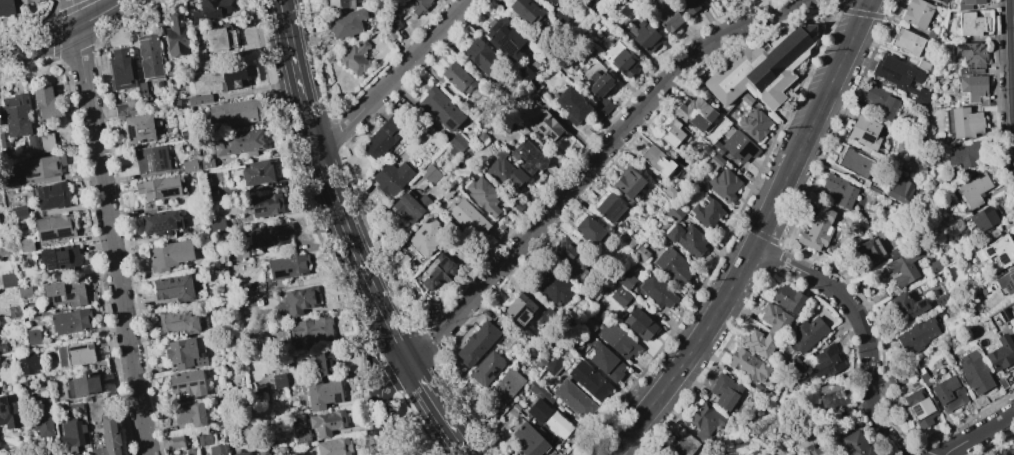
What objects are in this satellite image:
building: (541, 0)
building: (708, 0)
building: (938, 0)
building: (28, 1)
building: (550, 1)
building: (942, 1)
building: (971, 1)
building: (340, 4)
building: (418, 6)
building: (689, 6)
building: (6, 7)
building: (209, 10)
building: (521, 11)
building: (917, 13)
building: (664, 14)
building: (559, 17)
building: (394, 21)
building: (346, 23)
building: (969, 24)
building: (388, 32)
road: (63, 33)
building: (176, 36)
building: (644, 36)
building: (933, 36)
building: (505, 38)
building: (217, 39)
building: (907, 41)
building: (148, 52)
building: (481, 57)
building: (970, 57)
building: (355, 58)
building: (619, 59)
building: (200, 61)
building: (923, 65)
building: (761, 67)
building: (120, 70)
building: (524, 74)
rooftop solar panel: (894, 75)
road: (394, 76)
building: (901, 77)
building: (456, 78)
road: (832, 79)
building: (219, 81)
building: (599, 84)
building: (974, 89)
building: (141, 90)
building: (496, 91)
building: (746, 99)
building: (881, 101)
building: (42, 102)
building: (571, 105)
building: (603, 105)
building: (126, 108)
building: (440, 109)
building: (15, 111)
building: (234, 111)
building: (694, 113)
building: (594, 115)
building: (962, 122)
building: (753, 124)
building: (546, 126)
building: (138, 128)
building: (864, 132)
rooftop solar panel: (130, 133)
building: (674, 133)
building: (384, 135)
building: (39, 142)
building: (238, 142)
building: (457, 142)
building: (735, 146)
road: (606, 148)
building: (966, 154)
building: (528, 157)
building: (150, 159)
building: (656, 160)
building: (713, 161)
building: (856, 163)
building: (189, 165)
rooftop solar panel: (31, 166)
building: (41, 167)
building: (256, 172)
building: (505, 173)
building: (430, 174)
rooftop solar panel: (33, 176)
building: (388, 180)
building: (8, 183)
building: (627, 183)
building: (723, 185)
building: (870, 186)
road: (329, 187)
building: (159, 188)
building: (973, 189)
building: (839, 190)
building: (899, 190)
building: (668, 191)
building: (51, 196)
building: (483, 196)
building: (265, 204)
building: (410, 206)
building: (607, 207)
building: (18, 212)
building: (674, 213)
building: (706, 213)
building: (466, 216)
building: (985, 217)
building: (158, 222)
building: (216, 225)
building: (53, 227)
road: (107, 227)
rooftop solar panel: (159, 229)
building: (588, 229)
building: (817, 229)
building: (992, 234)
building: (268, 235)
building: (424, 237)
building: (686, 239)
building: (628, 241)
building: (4, 250)
building: (997, 250)
building: (868, 251)
building: (896, 251)
building: (568, 252)
building: (640, 253)
building: (168, 254)
rooftop solar panel: (987, 254)
building: (59, 257)
rooftop solar panel: (1004, 259)
building: (935, 264)
building: (672, 265)
building: (287, 266)
building: (904, 267)
building: (438, 271)
rooftop solar panel: (280, 276)
building: (7, 280)
building: (626, 280)
building: (1006, 280)
rooftop solar panel: (1013, 280)
building: (553, 286)
rooftop solar panel: (1011, 287)
building: (173, 288)
building: (24, 291)
building: (656, 291)
building: (65, 292)
building: (619, 296)
rooftop solar panel: (68, 297)
building: (298, 299)
building: (787, 299)
building: (941, 299)
rooftop solar panel: (57, 300)
building: (906, 306)
building: (519, 308)
road: (714, 315)
building: (547, 316)
rooftop solar panel: (1001, 316)
building: (774, 319)
building: (178, 321)
building: (69, 322)
building: (639, 324)
building: (589, 325)
road: (864, 326)
road: (374, 328)
building: (312, 330)
building: (807, 334)
building: (917, 335)
building: (33, 337)
building: (617, 340)
building: (759, 342)
building: (477, 344)
building: (575, 347)
building: (2, 348)
rooftop solar panel: (75, 348)
building: (199, 353)
road: (422, 353)
building: (1000, 353)
building: (75, 354)
building: (184, 354)
building: (324, 360)
building: (604, 361)
building: (827, 362)
building: (29, 363)
building: (747, 365)
building: (552, 366)
building: (486, 369)
building: (974, 372)
road: (371, 373)
road: (391, 377)
building: (895, 379)
building: (924, 379)
building: (589, 380)
building: (278, 381)
road: (422, 382)
rooftop solar panel: (201, 383)
building: (84, 384)
building: (186, 384)
rooftop solar panel: (191, 385)
rooftop solar panel: (180, 386)
building: (504, 388)
building: (758, 390)
building: (724, 391)
building: (948, 392)
building: (323, 393)
building: (539, 393)
building: (830, 395)
rooftop solar panel: (337, 399)
building: (573, 399)
rooftop solar panel: (3, 402)
building: (71, 408)
building: (918, 408)
rooftop solar panel: (2, 410)
building: (9, 412)
rooftop solar panel: (915, 412)
building: (844, 413)
building: (39, 414)
building: (190, 414)
building: (549, 418)
building: (705, 418)
building: (327, 422)
road: (381, 425)
road: (452, 428)
park: (411, 431)
road: (978, 433)
building: (72, 434)
building: (301, 434)
building: (108, 437)
building: (204, 438)
building: (176, 441)
building: (530, 441)
building: (683, 444)
building: (854, 444)
building: (334, 446)
building: (812, 450)
building: (263, 452)
building: (750, 452)
building: (1009, 452)
building: (243, 453)
building: (791, 453)
building: (656, 454)

